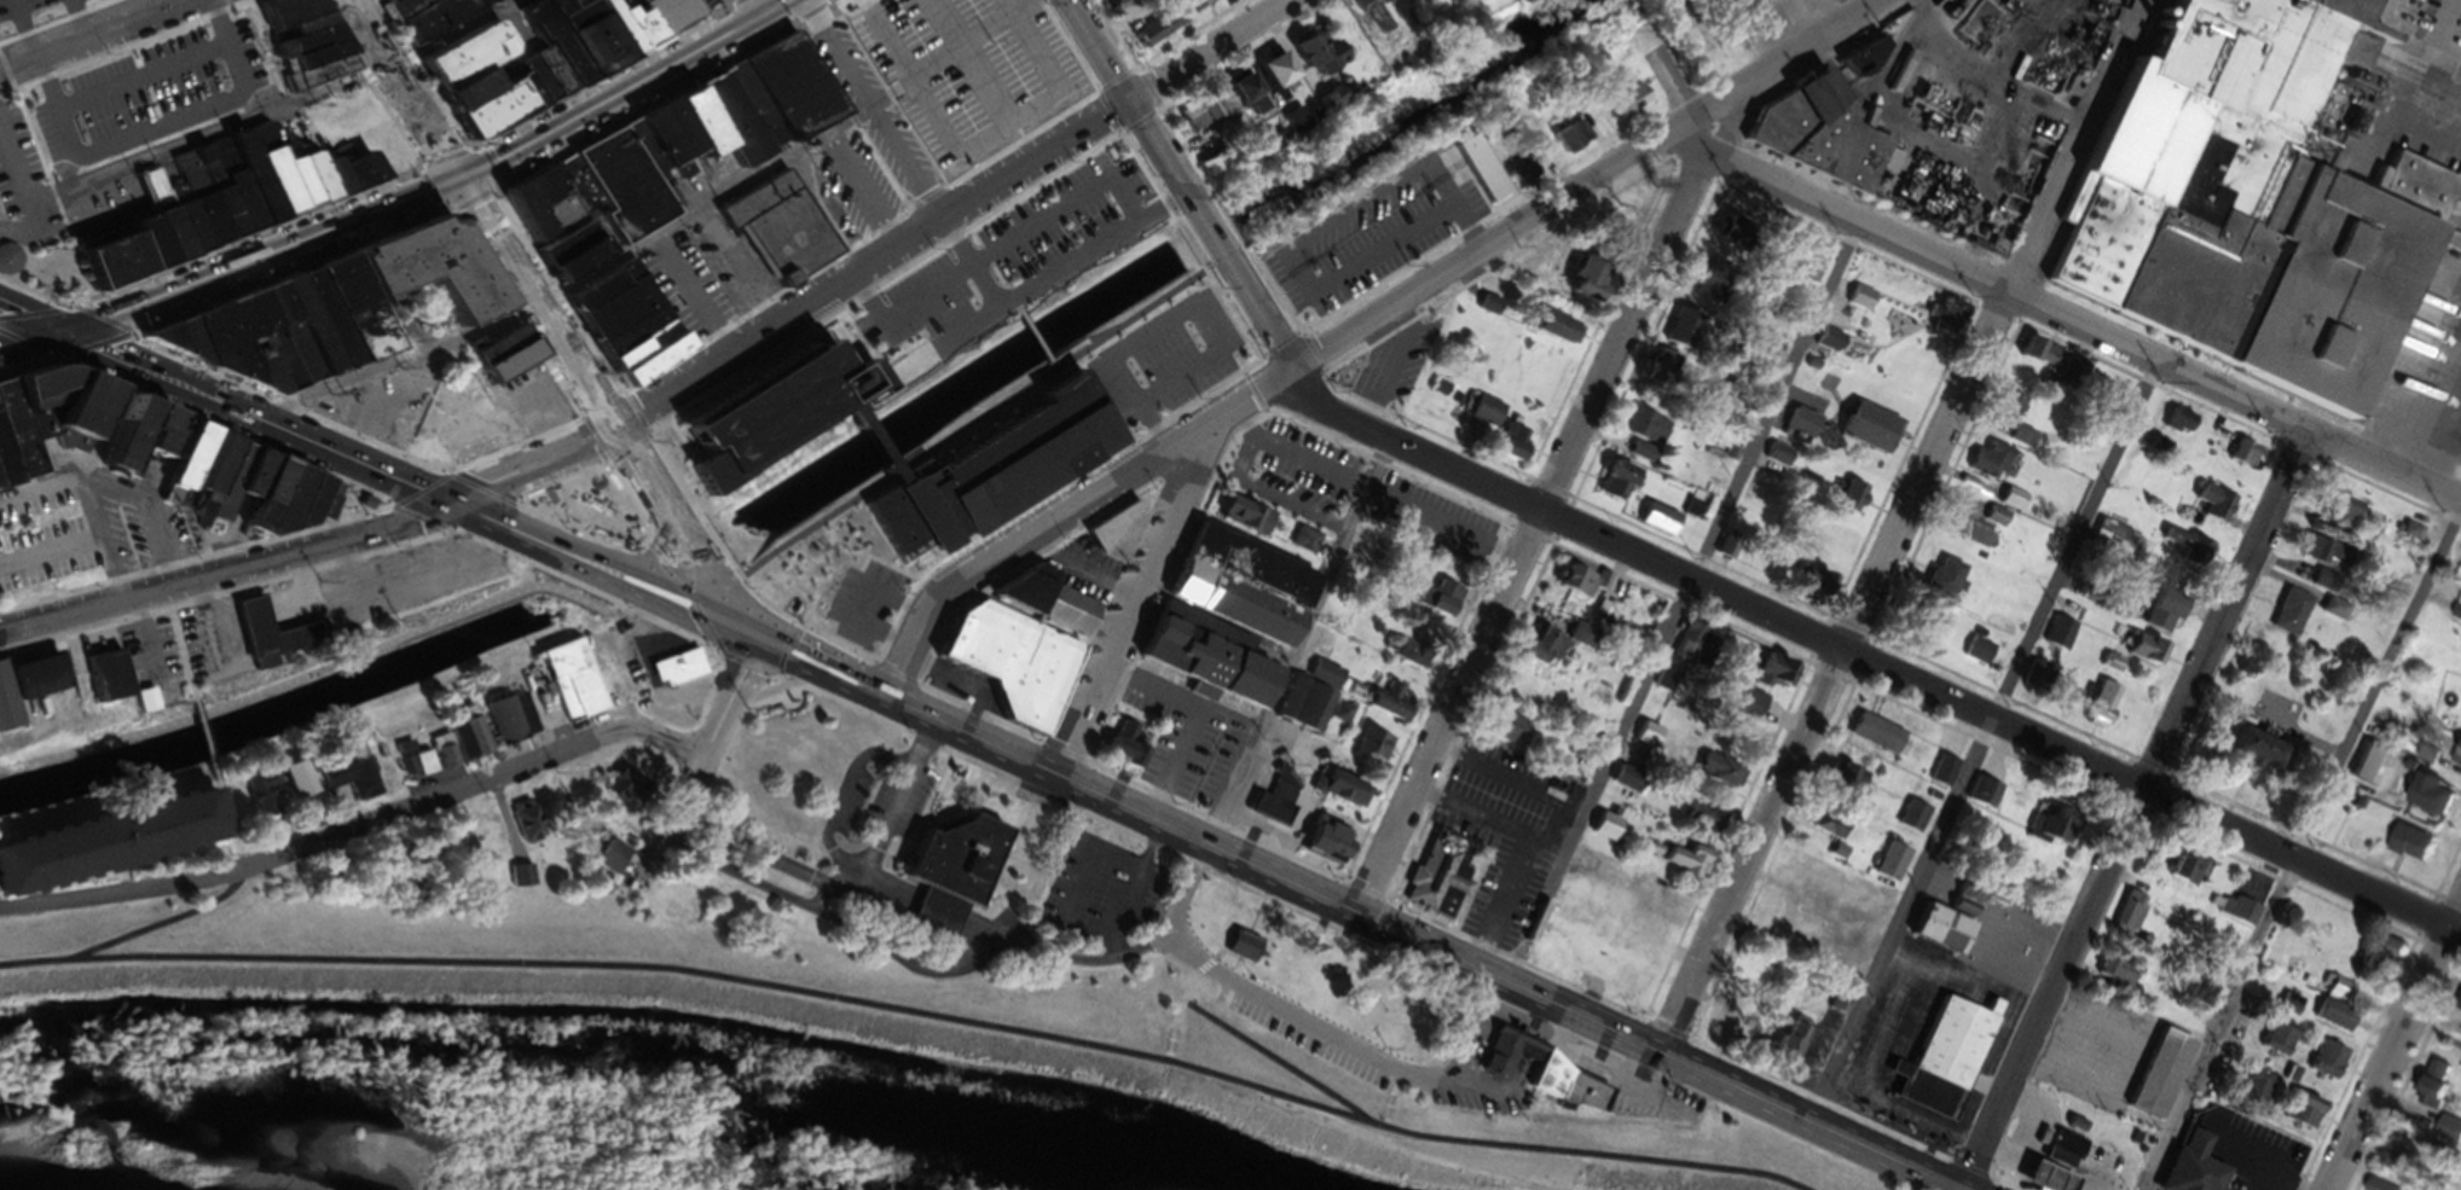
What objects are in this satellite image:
building: (1406, 0)
parking lot: (70, 1)
road: (763, 4)
building: (1107, 4)
building: (1744, 4)
parking lot: (18, 6)
building: (1187, 7)
road: (151, 8)
building: (33, 13)
building: (288, 16)
road: (83, 21)
building: (1368, 21)
road: (27, 30)
building: (297, 33)
building: (1148, 35)
road: (103, 36)
road: (973, 45)
building: (303, 47)
building: (537, 56)
building: (1309, 62)
building: (1854, 62)
building: (311, 63)
parking lot: (973, 68)
road: (143, 75)
building: (1267, 76)
building: (318, 79)
road: (621, 88)
parking lot: (152, 91)
building: (805, 93)
building: (1232, 98)
building: (1617, 109)
road: (873, 110)
road: (1135, 112)
building: (1194, 115)
road: (158, 124)
building: (1292, 126)
building: (137, 135)
building: (1807, 141)
building: (1564, 143)
building: (683, 158)
road: (162, 161)
building: (372, 174)
building: (273, 176)
traffic signals: (459, 179)
building: (357, 180)
parking lot: (24, 181)
building: (322, 182)
building: (341, 182)
building: (256, 184)
parking lot: (852, 186)
road: (1593, 186)
building: (303, 191)
road: (864, 193)
building: (220, 197)
road: (29, 198)
building: (2249, 204)
building: (201, 205)
building: (247, 208)
building: (1121, 208)
road: (481, 213)
road: (708, 213)
road: (951, 213)
building: (163, 221)
building: (1065, 224)
building: (187, 226)
parking lot: (1372, 232)
building: (787, 234)
road: (1467, 234)
road: (1217, 242)
road: (995, 248)
building: (152, 249)
parking lot: (1018, 255)
road: (264, 259)
road: (1292, 259)
building: (12, 263)
road: (971, 263)
road: (1064, 265)
building: (118, 267)
road: (739, 271)
road: (997, 271)
building: (441, 277)
parking lot: (713, 277)
road: (892, 278)
building: (1807, 284)
building: (603, 285)
building: (1575, 294)
road: (696, 297)
building: (369, 312)
road: (1263, 313)
building: (1939, 321)
building: (340, 323)
road: (2080, 325)
building: (322, 330)
building: (905, 330)
building: (1552, 333)
building: (303, 337)
road: (1041, 337)
traffic signals: (69, 339)
building: (979, 339)
building: (1171, 343)
building: (284, 344)
building: (190, 347)
road: (34, 349)
building: (225, 349)
building: (257, 352)
parking lot: (1170, 352)
parking lot: (1400, 360)
building: (2034, 362)
road: (400, 370)
building: (1658, 375)
building: (1917, 378)
building: (2068, 379)
parking lot: (372, 397)
road: (224, 408)
building: (109, 410)
building: (784, 411)
building: (1484, 418)
building: (2014, 423)
building: (2175, 425)
road: (961, 426)
building: (1797, 430)
building: (181, 435)
road: (2439, 436)
building: (1876, 437)
building: (151, 439)
road: (888, 440)
building: (1640, 441)
road: (627, 446)
building: (1509, 449)
building: (2156, 452)
building: (1725, 455)
building: (204, 462)
building: (1000, 468)
building: (1986, 468)
building: (231, 469)
parking lot: (1290, 469)
building: (270, 478)
building: (1609, 488)
building: (283, 499)
building: (1845, 503)
building: (302, 505)
building: (322, 505)
road: (86, 507)
road: (154, 510)
building: (2218, 511)
road: (1070, 512)
building: (1698, 512)
building: (2334, 516)
road: (670, 517)
parking lot: (1435, 518)
building: (1240, 522)
road: (1538, 522)
road: (656, 529)
road: (1903, 529)
building: (1979, 530)
road: (1441, 532)
parking lot: (86, 533)
building: (2408, 538)
road: (592, 540)
building: (2109, 542)
road: (314, 547)
building: (1302, 547)
road: (561, 551)
road: (50, 556)
building: (2321, 559)
building: (2193, 562)
building: (2453, 563)
road: (375, 576)
parking lot: (384, 581)
building: (1942, 582)
building: (1808, 587)
building: (1573, 588)
road: (708, 596)
parking lot: (864, 603)
road: (1133, 603)
building: (1438, 608)
building: (2114, 610)
road: (695, 611)
road: (216, 613)
building: (1061, 616)
building: (2288, 616)
building: (2156, 617)
traffic signals: (718, 622)
building: (1220, 622)
building: (1921, 631)
road: (739, 633)
parking lot: (218, 637)
road: (141, 639)
road: (181, 640)
building: (265, 640)
building: (1579, 640)
building: (2061, 642)
road: (1296, 645)
building: (1538, 652)
building: (2142, 655)
building: (1013, 657)
parking lot: (155, 658)
road: (1871, 660)
road: (337, 666)
road: (1657, 667)
road: (824, 673)
building: (682, 674)
building: (1766, 678)
building: (115, 683)
building: (578, 686)
road: (212, 691)
building: (31, 692)
road: (734, 701)
building: (1743, 712)
building: (1379, 713)
building: (1308, 716)
building: (514, 724)
building: (1496, 732)
road: (209, 738)
parking lot: (1188, 738)
building: (1871, 741)
road: (1986, 745)
building: (464, 750)
building: (1117, 750)
building: (1367, 751)
building: (2252, 756)
building: (2456, 761)
building: (1715, 776)
road: (842, 777)
building: (1940, 777)
building: (355, 782)
road: (475, 785)
building: (1847, 786)
road: (1522, 790)
building: (632, 795)
building: (1337, 795)
building: (267, 799)
road: (693, 799)
building: (2424, 801)
building: (1984, 803)
building: (1268, 807)
road: (2135, 811)
building: (527, 820)
road: (874, 823)
building: (1911, 823)
road: (233, 828)
building: (1828, 828)
building: (1713, 829)
building: (2046, 832)
parking lot: (1500, 834)
building: (116, 837)
road: (748, 843)
building: (1319, 844)
road: (2303, 847)
building: (2407, 849)
road: (1529, 851)
road: (840, 861)
building: (1681, 865)
building: (619, 866)
building: (962, 869)
building: (1888, 870)
road: (758, 877)
road: (1073, 877)
building: (2187, 878)
building: (523, 881)
building: (1436, 881)
parking lot: (1095, 886)
road: (121, 893)
building: (1961, 912)
building: (2131, 918)
building: (2242, 918)
road: (162, 928)
road: (1023, 935)
building: (1938, 936)
road: (1414, 946)
building: (1237, 953)
building: (2376, 959)
building: (2115, 980)
building: (2338, 997)
building: (2460, 997)
building: (2200, 1002)
park: (911, 1010)
building: (2287, 1012)
road: (898, 1018)
building: (2460, 1020)
building: (2330, 1022)
building: (2275, 1045)
road: (2396, 1047)
building: (1788, 1049)
building: (1941, 1063)
road: (1266, 1066)
building: (2323, 1067)
building: (2158, 1081)
building: (2252, 1093)
building: (2428, 1099)
building: (2298, 1118)
building: (2446, 1137)
building: (2058, 1156)
building: (2188, 1168)
building: (2369, 1188)

